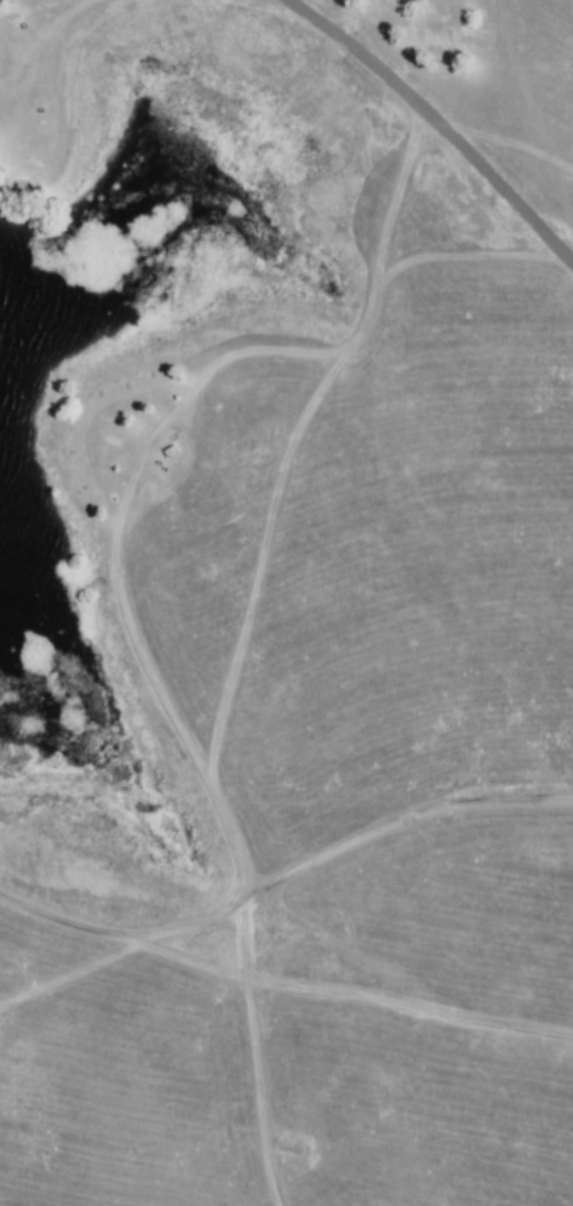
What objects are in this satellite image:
road: (434, 127)

